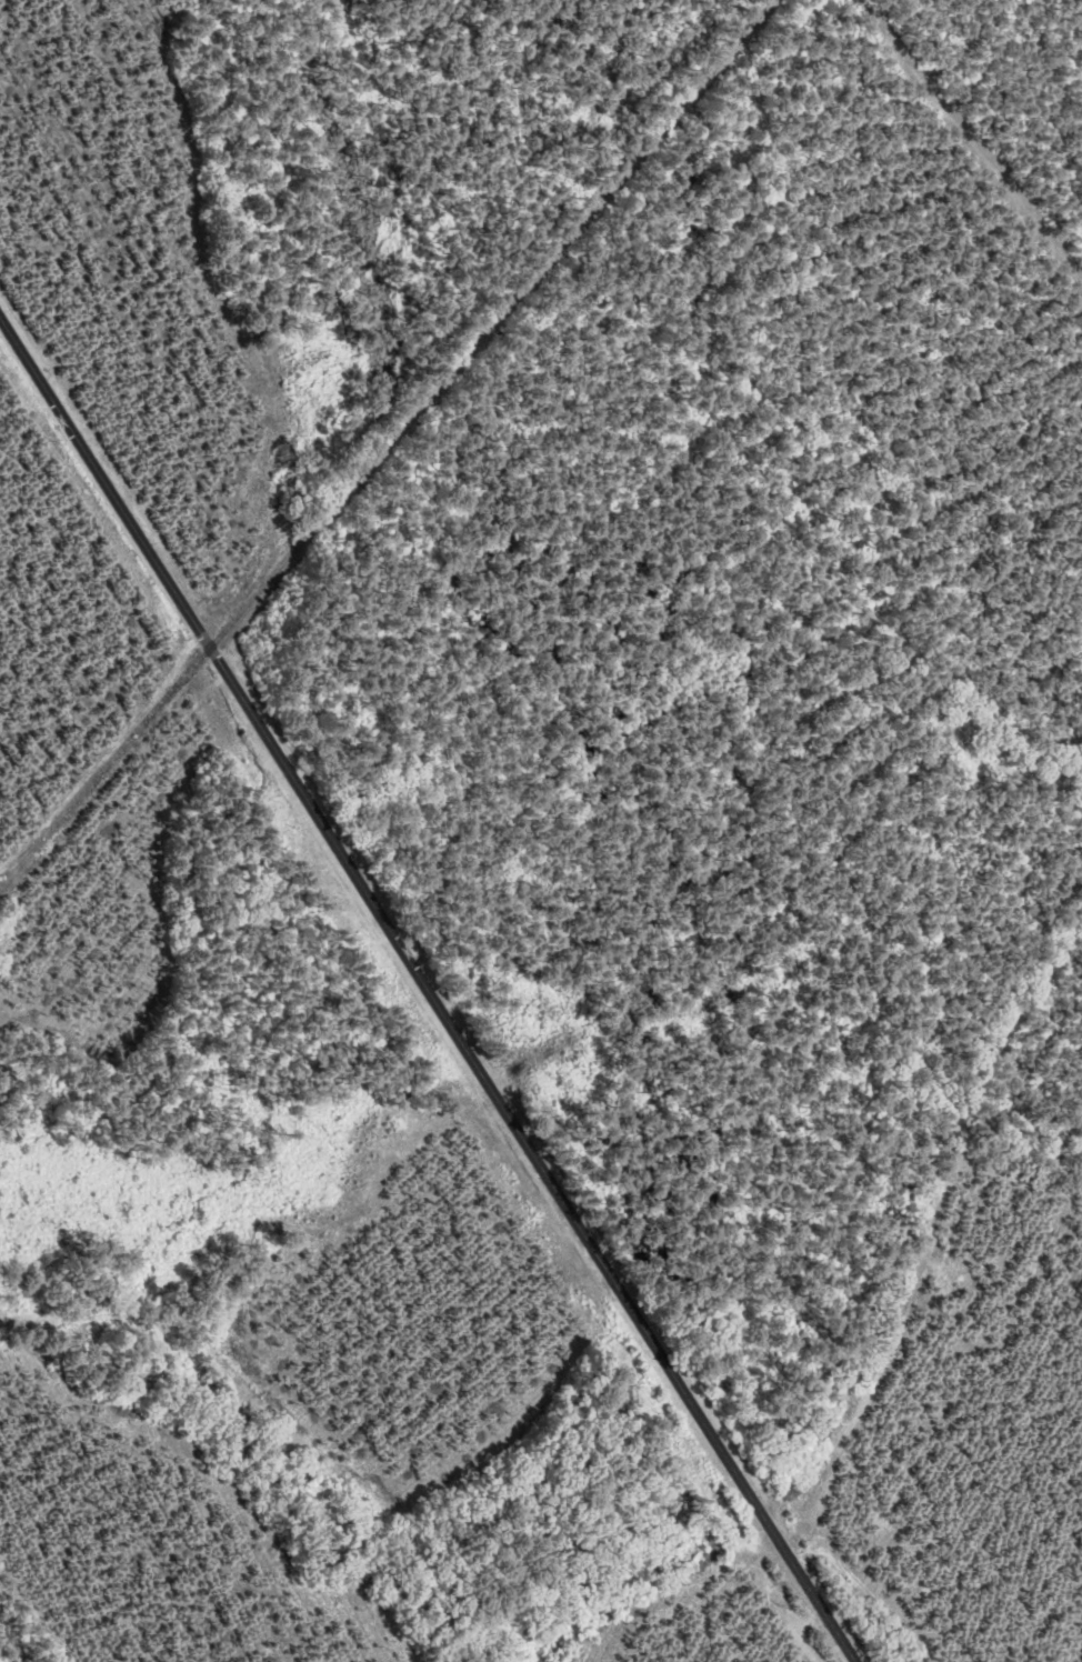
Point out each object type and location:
railway: (384, 443)
road: (428, 989)

